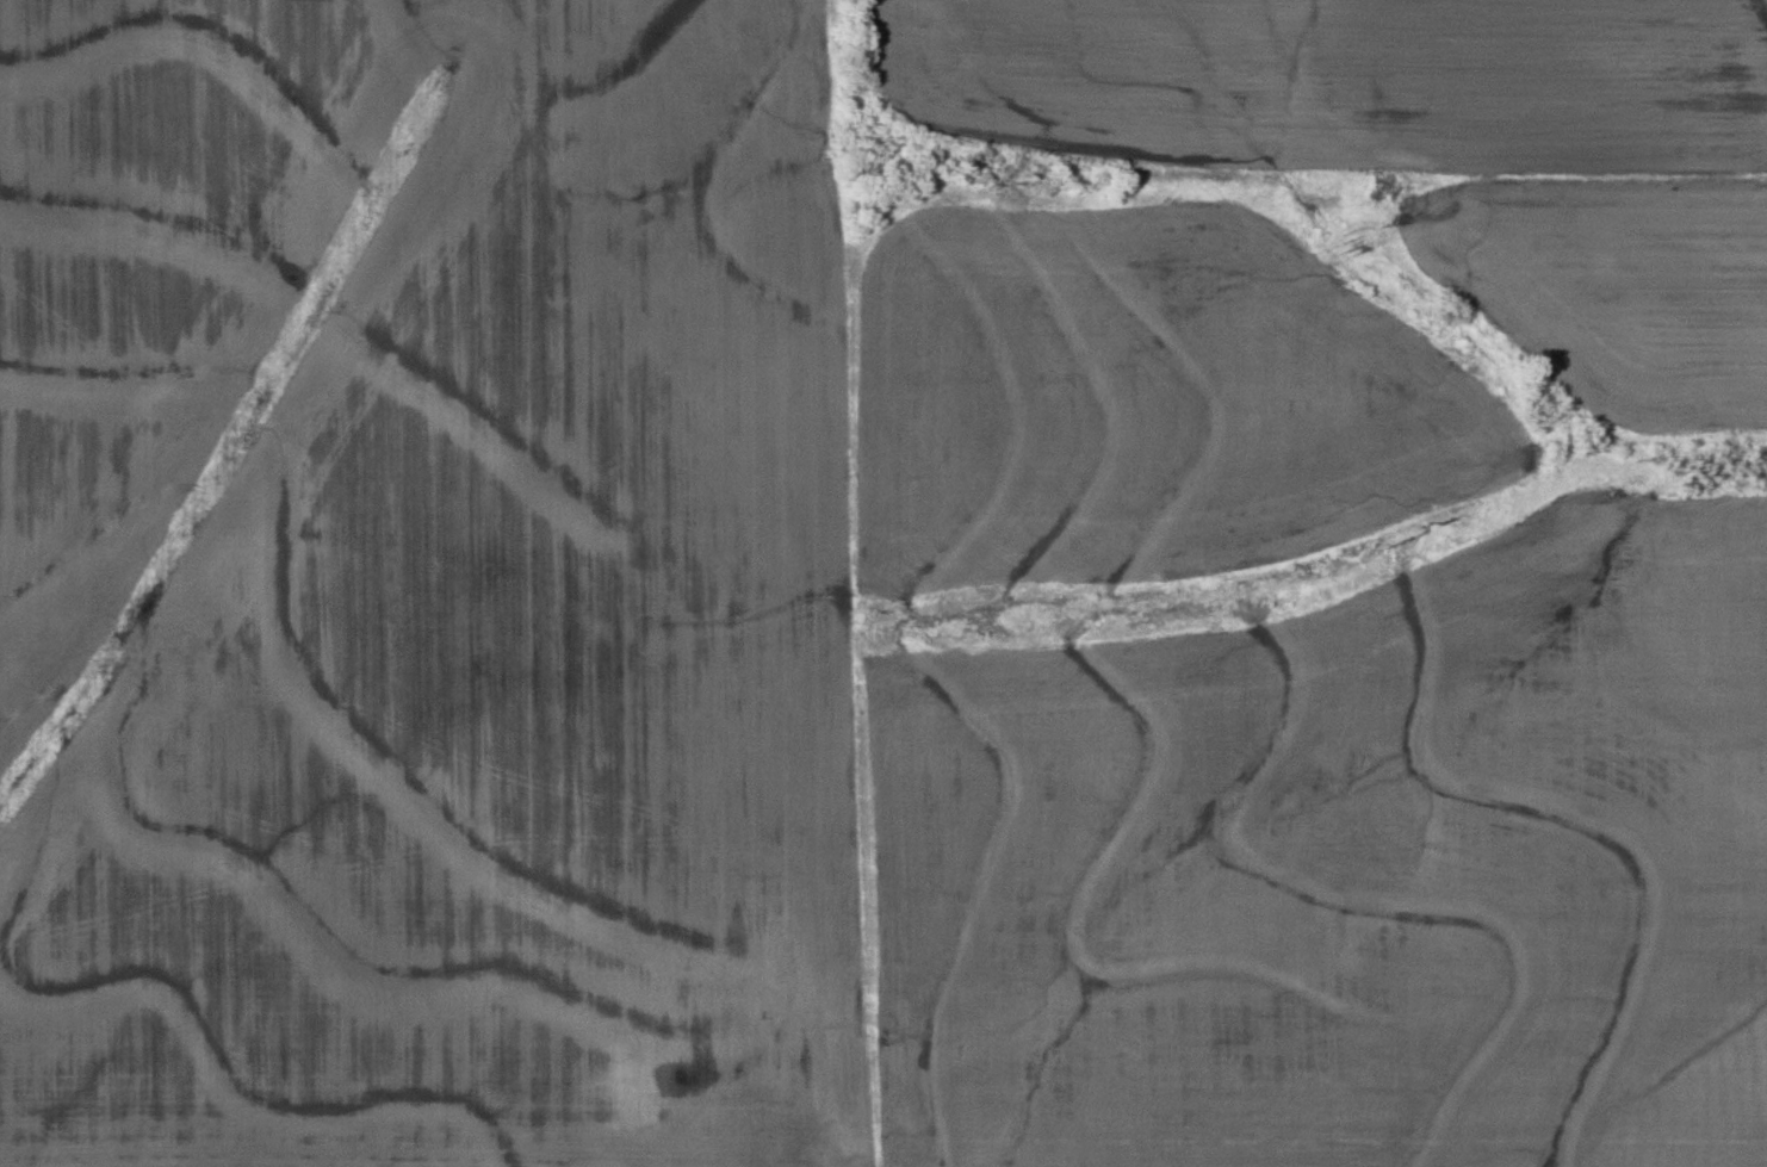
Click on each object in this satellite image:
building: (640, 1110)

